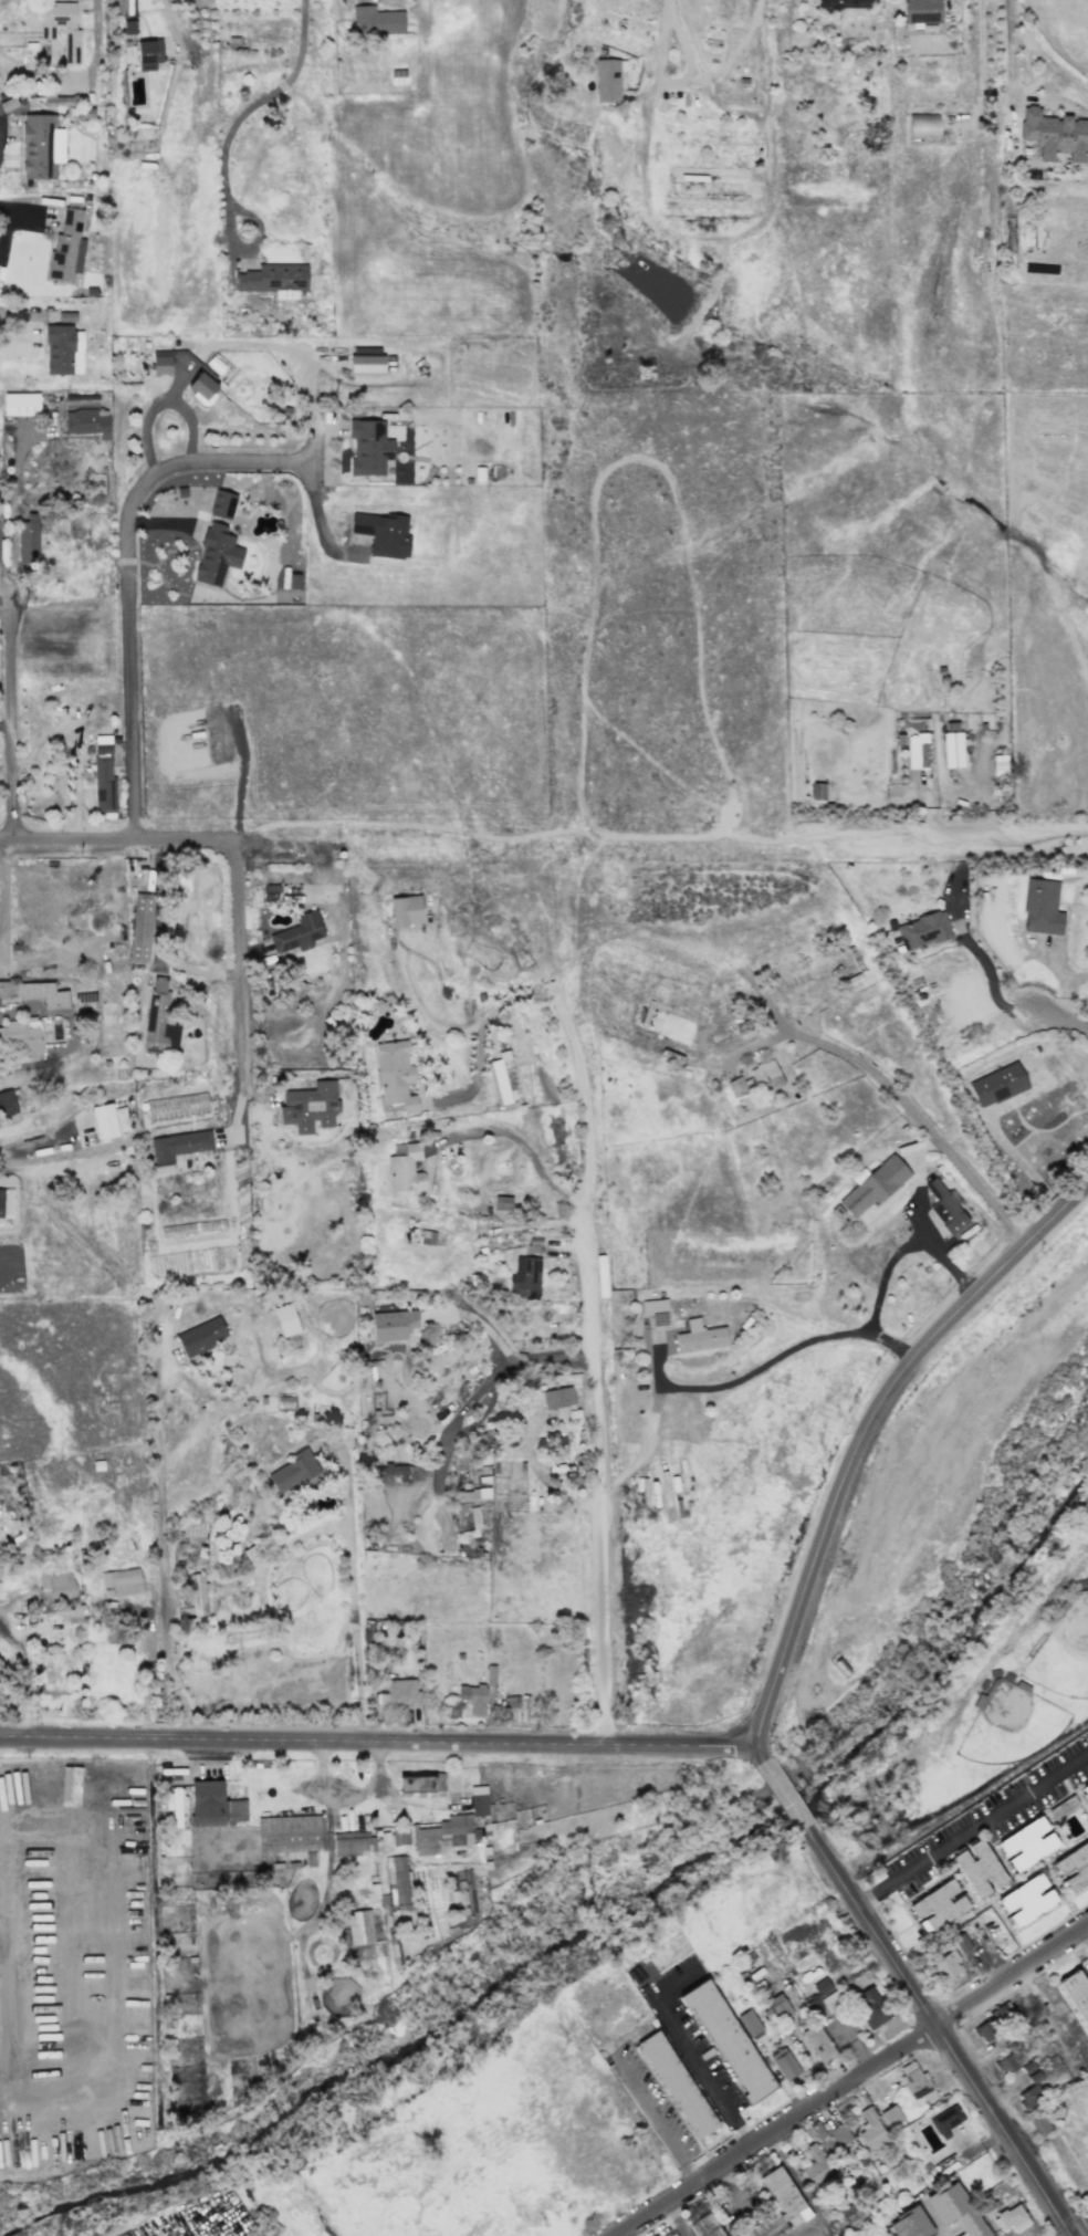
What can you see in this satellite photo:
building: (844, 3)
building: (921, 11)
building: (376, 21)
building: (70, 33)
road: (96, 43)
building: (148, 54)
road: (1006, 56)
building: (607, 82)
road: (243, 108)
building: (922, 125)
building: (1055, 135)
building: (40, 146)
road: (12, 209)
road: (700, 236)
building: (66, 248)
building: (274, 280)
road: (23, 314)
building: (66, 317)
building: (63, 349)
building: (161, 364)
building: (366, 364)
building: (201, 383)
building: (20, 404)
road: (158, 405)
building: (86, 422)
building: (368, 447)
road: (315, 516)
building: (383, 534)
building: (27, 540)
building: (218, 543)
road: (127, 576)
building: (292, 581)
road: (3, 591)
road: (10, 681)
building: (952, 744)
building: (917, 751)
building: (103, 777)
road: (118, 838)
road: (588, 839)
road: (1014, 842)
building: (1042, 908)
building: (405, 910)
building: (140, 928)
building: (922, 930)
building: (297, 934)
road: (158, 938)
road: (241, 970)
building: (35, 992)
road: (511, 999)
road: (425, 1007)
building: (156, 1017)
road: (1063, 1022)
road: (72, 1033)
building: (22, 1037)
road: (480, 1070)
building: (395, 1075)
building: (756, 1079)
building: (997, 1085)
building: (7, 1103)
building: (177, 1106)
building: (308, 1107)
road: (911, 1119)
building: (104, 1121)
road: (526, 1145)
road: (39, 1147)
building: (177, 1147)
building: (404, 1168)
building: (873, 1185)
building: (502, 1203)
building: (945, 1206)
road: (907, 1243)
building: (524, 1277)
building: (656, 1312)
building: (285, 1319)
building: (393, 1325)
building: (200, 1337)
building: (700, 1337)
road: (506, 1352)
road: (770, 1361)
road: (586, 1368)
building: (557, 1398)
road: (864, 1428)
building: (293, 1471)
building: (393, 1471)
road: (339, 1482)
road: (163, 1560)
building: (121, 1582)
road: (261, 1587)
building: (56, 1588)
building: (197, 1600)
building: (73, 1615)
building: (113, 1629)
road: (351, 1632)
park: (953, 1638)
road: (27, 1673)
building: (490, 1679)
building: (399, 1694)
building: (473, 1699)
road: (377, 1742)
road: (761, 1749)
building: (420, 1783)
building: (1085, 1789)
road: (788, 1794)
building: (175, 1805)
building: (213, 1806)
building: (480, 1806)
road: (972, 1822)
building: (400, 1835)
building: (291, 1836)
building: (443, 1836)
building: (353, 1843)
building: (1027, 1843)
building: (1073, 1867)
building: (979, 1868)
building: (397, 1879)
building: (1026, 1900)
building: (938, 1906)
building: (359, 1926)
road: (1085, 1935)
building: (961, 1943)
building: (946, 1966)
building: (1077, 1994)
building: (824, 1997)
building: (778, 2007)
building: (868, 2007)
building: (1000, 2012)
building: (750, 2024)
road: (941, 2030)
building: (984, 2031)
building: (728, 2041)
building: (818, 2044)
road: (700, 2063)
building: (784, 2063)
building: (1005, 2065)
road: (852, 2082)
building: (916, 2082)
building: (676, 2085)
building: (1029, 2094)
road: (650, 2114)
building: (890, 2115)
building: (945, 2119)
building: (1038, 2124)
building: (870, 2129)
building: (830, 2138)
building: (820, 2176)
road: (803, 2190)
building: (985, 2203)
building: (778, 2207)
building: (956, 2211)
building: (849, 2213)
road: (682, 2218)
building: (1011, 2218)
building: (910, 2224)
building: (704, 2226)
road: (1082, 2232)

